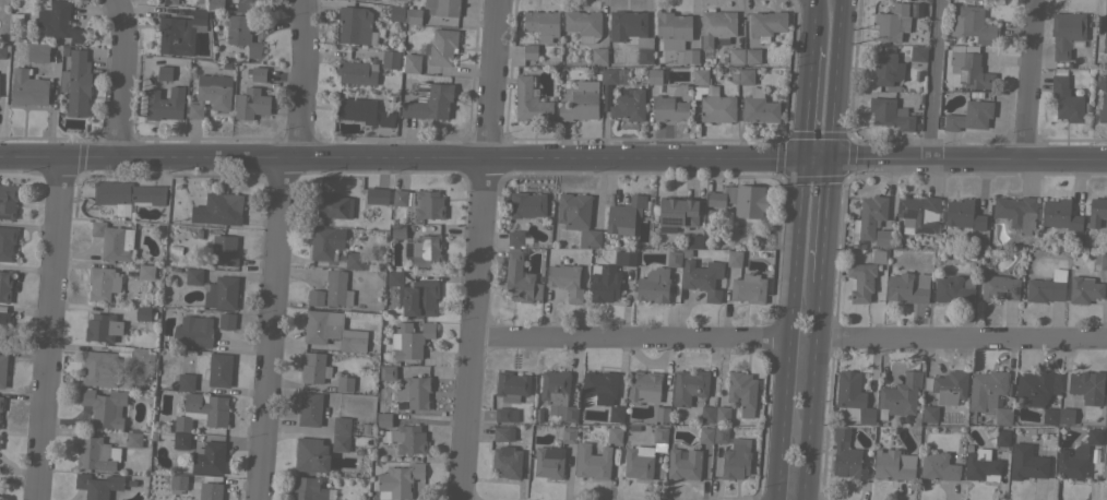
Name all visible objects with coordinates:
building: (364, 0)
rooftop solar panel: (167, 1)
building: (168, 1)
building: (215, 3)
building: (247, 5)
building: (442, 7)
building: (396, 12)
building: (414, 15)
building: (59, 21)
road: (808, 22)
building: (893, 22)
building: (541, 24)
building: (583, 24)
building: (766, 24)
building: (973, 24)
building: (356, 25)
building: (672, 25)
building: (716, 26)
building: (179, 33)
building: (632, 33)
building: (1067, 33)
building: (242, 35)
building: (1105, 40)
building: (442, 47)
building: (674, 48)
building: (2, 50)
building: (37, 51)
building: (529, 51)
building: (918, 52)
building: (599, 56)
building: (691, 56)
building: (736, 56)
building: (752, 56)
building: (390, 58)
building: (410, 62)
building: (969, 67)
building: (886, 69)
building: (164, 72)
building: (357, 72)
building: (259, 73)
building: (608, 75)
building: (654, 75)
building: (746, 75)
road: (838, 76)
road: (126, 78)
road: (939, 78)
road: (1032, 78)
building: (76, 83)
building: (28, 87)
building: (2, 88)
building: (210, 95)
road: (801, 99)
building: (1066, 99)
building: (429, 100)
building: (529, 100)
building: (713, 100)
building: (581, 102)
building: (165, 103)
building: (251, 103)
building: (628, 105)
building: (1103, 106)
building: (759, 107)
building: (669, 108)
building: (356, 109)
building: (891, 114)
building: (969, 116)
building: (386, 118)
road: (814, 154)
traffic signals: (833, 154)
traffic signals: (797, 155)
road: (969, 156)
road: (398, 157)
building: (128, 193)
building: (377, 195)
building: (400, 197)
building: (740, 199)
building: (8, 201)
building: (429, 204)
building: (526, 204)
building: (335, 206)
building: (226, 207)
building: (1015, 211)
building: (1096, 212)
building: (677, 213)
building: (919, 214)
building: (963, 214)
building: (1059, 214)
rooftop solar panel: (3, 215)
building: (624, 215)
building: (870, 216)
building: (578, 217)
road: (826, 218)
rooftop solar panel: (672, 219)
building: (397, 230)
building: (882, 237)
building: (517, 238)
building: (114, 240)
building: (7, 242)
building: (325, 242)
road: (279, 248)
building: (424, 250)
road: (483, 250)
building: (223, 251)
building: (878, 257)
building: (624, 258)
building: (674, 258)
building: (734, 258)
building: (1100, 260)
building: (355, 261)
building: (147, 271)
building: (193, 275)
building: (703, 277)
building: (520, 279)
building: (566, 279)
building: (861, 281)
building: (103, 283)
building: (605, 284)
building: (4, 285)
building: (653, 285)
building: (999, 287)
building: (1047, 287)
building: (748, 288)
building: (908, 288)
building: (337, 289)
building: (953, 289)
building: (1084, 289)
building: (222, 293)
building: (414, 295)
building: (314, 297)
building: (144, 312)
building: (227, 320)
building: (3, 324)
building: (103, 326)
road: (784, 326)
road: (49, 328)
building: (326, 330)
building: (193, 331)
road: (631, 335)
road: (963, 338)
building: (410, 340)
building: (144, 355)
building: (98, 367)
building: (313, 368)
building: (2, 369)
building: (218, 369)
building: (385, 371)
building: (184, 381)
building: (345, 383)
building: (511, 385)
building: (644, 385)
building: (688, 386)
building: (948, 386)
building: (1036, 386)
building: (1087, 386)
building: (415, 391)
building: (602, 392)
building: (742, 392)
road: (814, 392)
building: (557, 394)
building: (853, 395)
building: (900, 395)
building: (988, 395)
building: (0, 403)
building: (104, 407)
building: (310, 408)
building: (202, 410)
building: (505, 414)
building: (662, 414)
building: (706, 414)
building: (929, 414)
building: (722, 415)
building: (1066, 415)
building: (1049, 416)
building: (1105, 416)
building: (383, 419)
building: (341, 425)
building: (503, 433)
building: (569, 434)
building: (615, 434)
building: (705, 434)
building: (721, 434)
building: (133, 438)
building: (1002, 438)
building: (407, 439)
building: (181, 440)
building: (340, 442)
building: (92, 451)
building: (311, 454)
building: (644, 455)
building: (846, 455)
building: (1076, 457)
building: (209, 459)
building: (507, 462)
building: (548, 462)
building: (592, 462)
building: (736, 462)
building: (1026, 462)
building: (1104, 462)
building: (683, 464)
building: (892, 465)
building: (981, 465)
building: (938, 466)
building: (398, 480)
building: (178, 481)
building: (97, 485)
building: (308, 489)
building: (210, 490)

